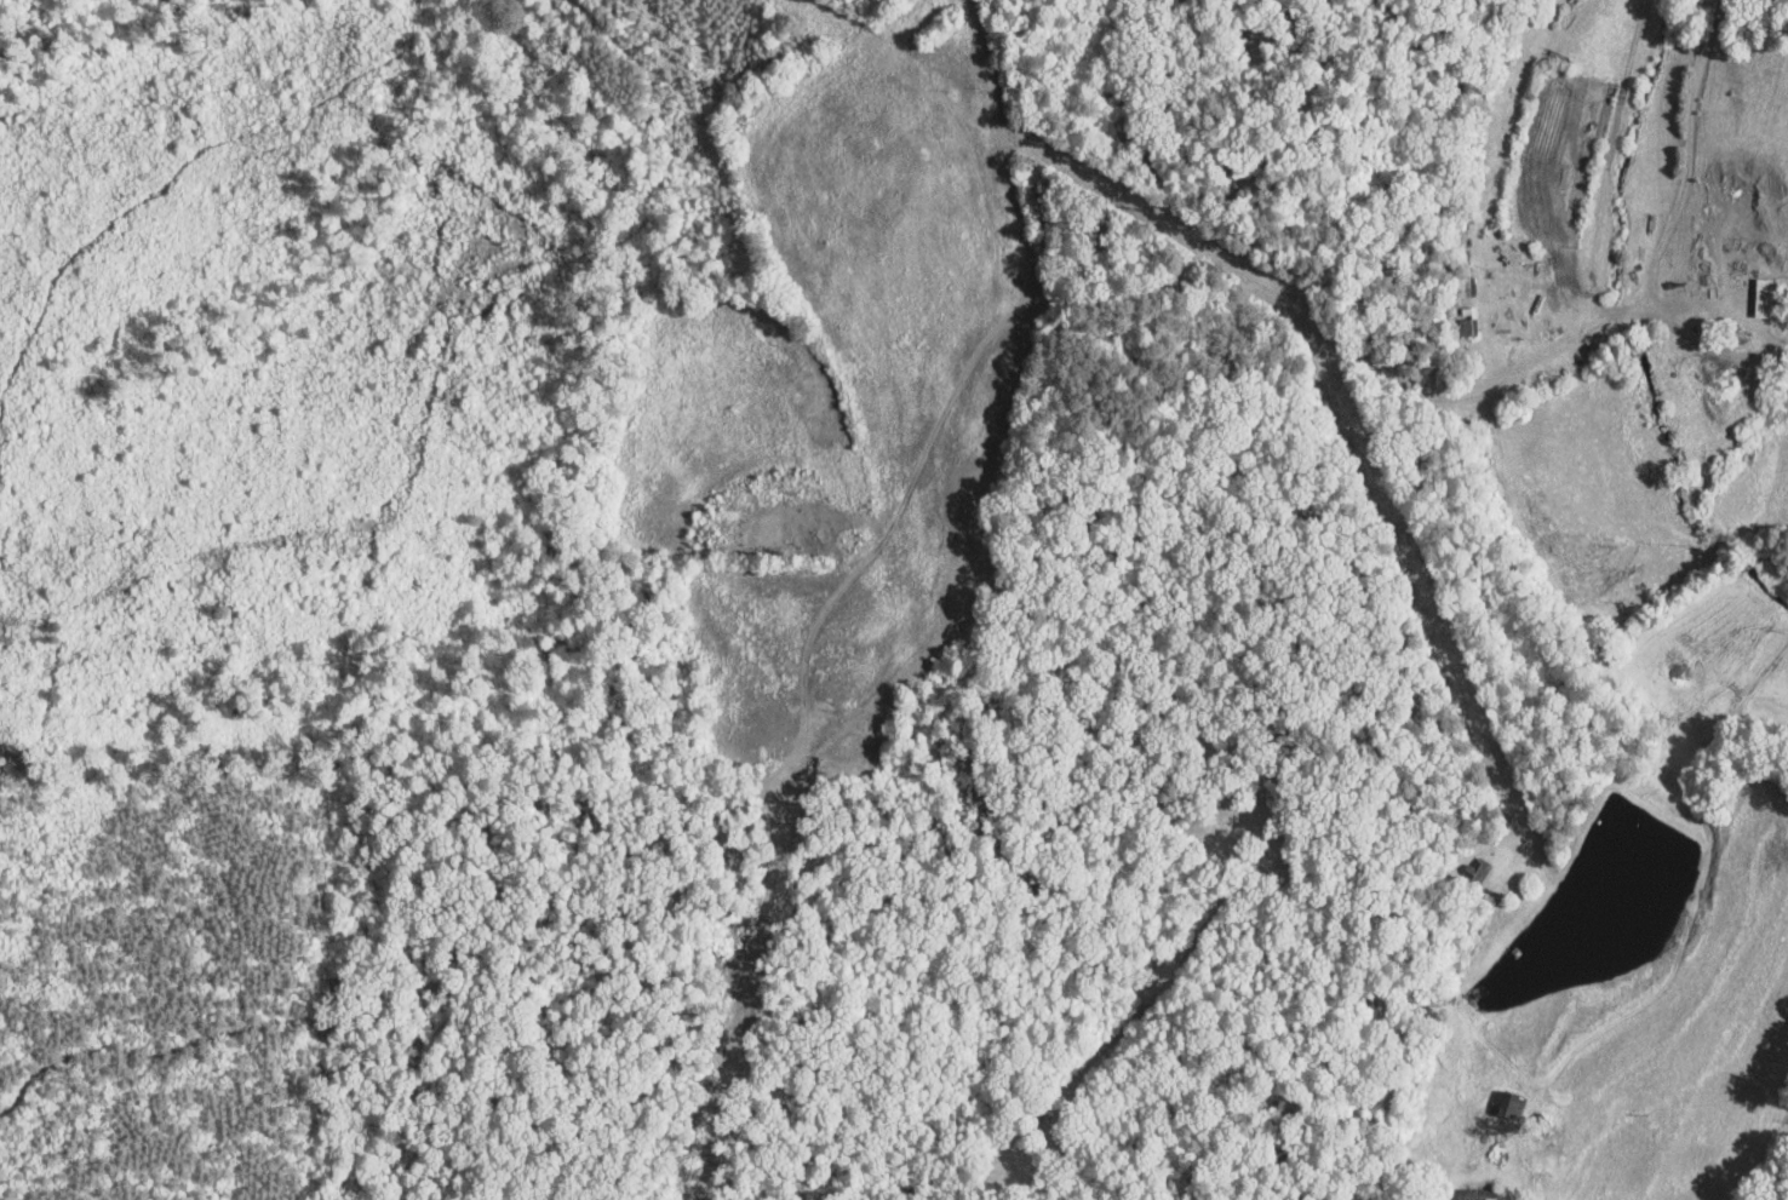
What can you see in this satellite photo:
building: (1761, 297)

